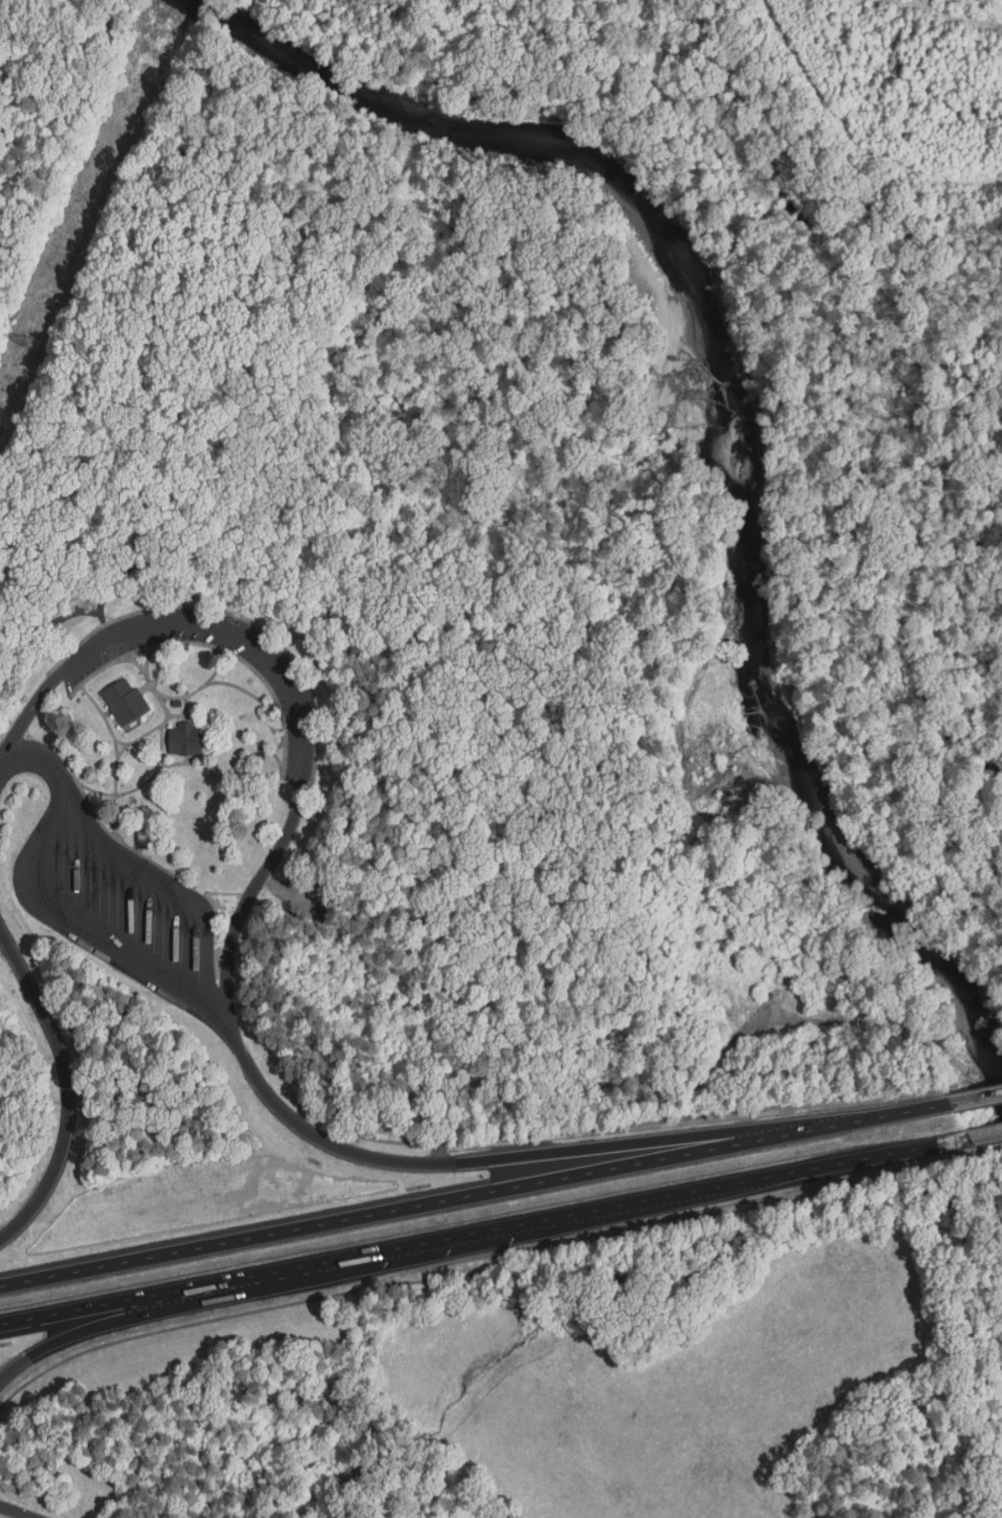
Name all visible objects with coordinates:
road: (215, 648)
road: (147, 659)
road: (145, 688)
road: (200, 688)
road: (244, 690)
road: (301, 697)
parking lot: (295, 700)
building: (125, 703)
road: (185, 710)
road: (167, 712)
road: (107, 713)
road: (177, 716)
building: (186, 740)
road: (120, 742)
road: (161, 747)
road: (117, 762)
road: (135, 788)
road: (120, 841)
road: (167, 885)
parking lot: (117, 903)
road: (62, 912)
road: (68, 1088)
road: (976, 1099)
road: (984, 1135)
road: (552, 1153)
road: (474, 1195)
road: (483, 1232)
road: (251, 1295)
road: (16, 1512)

